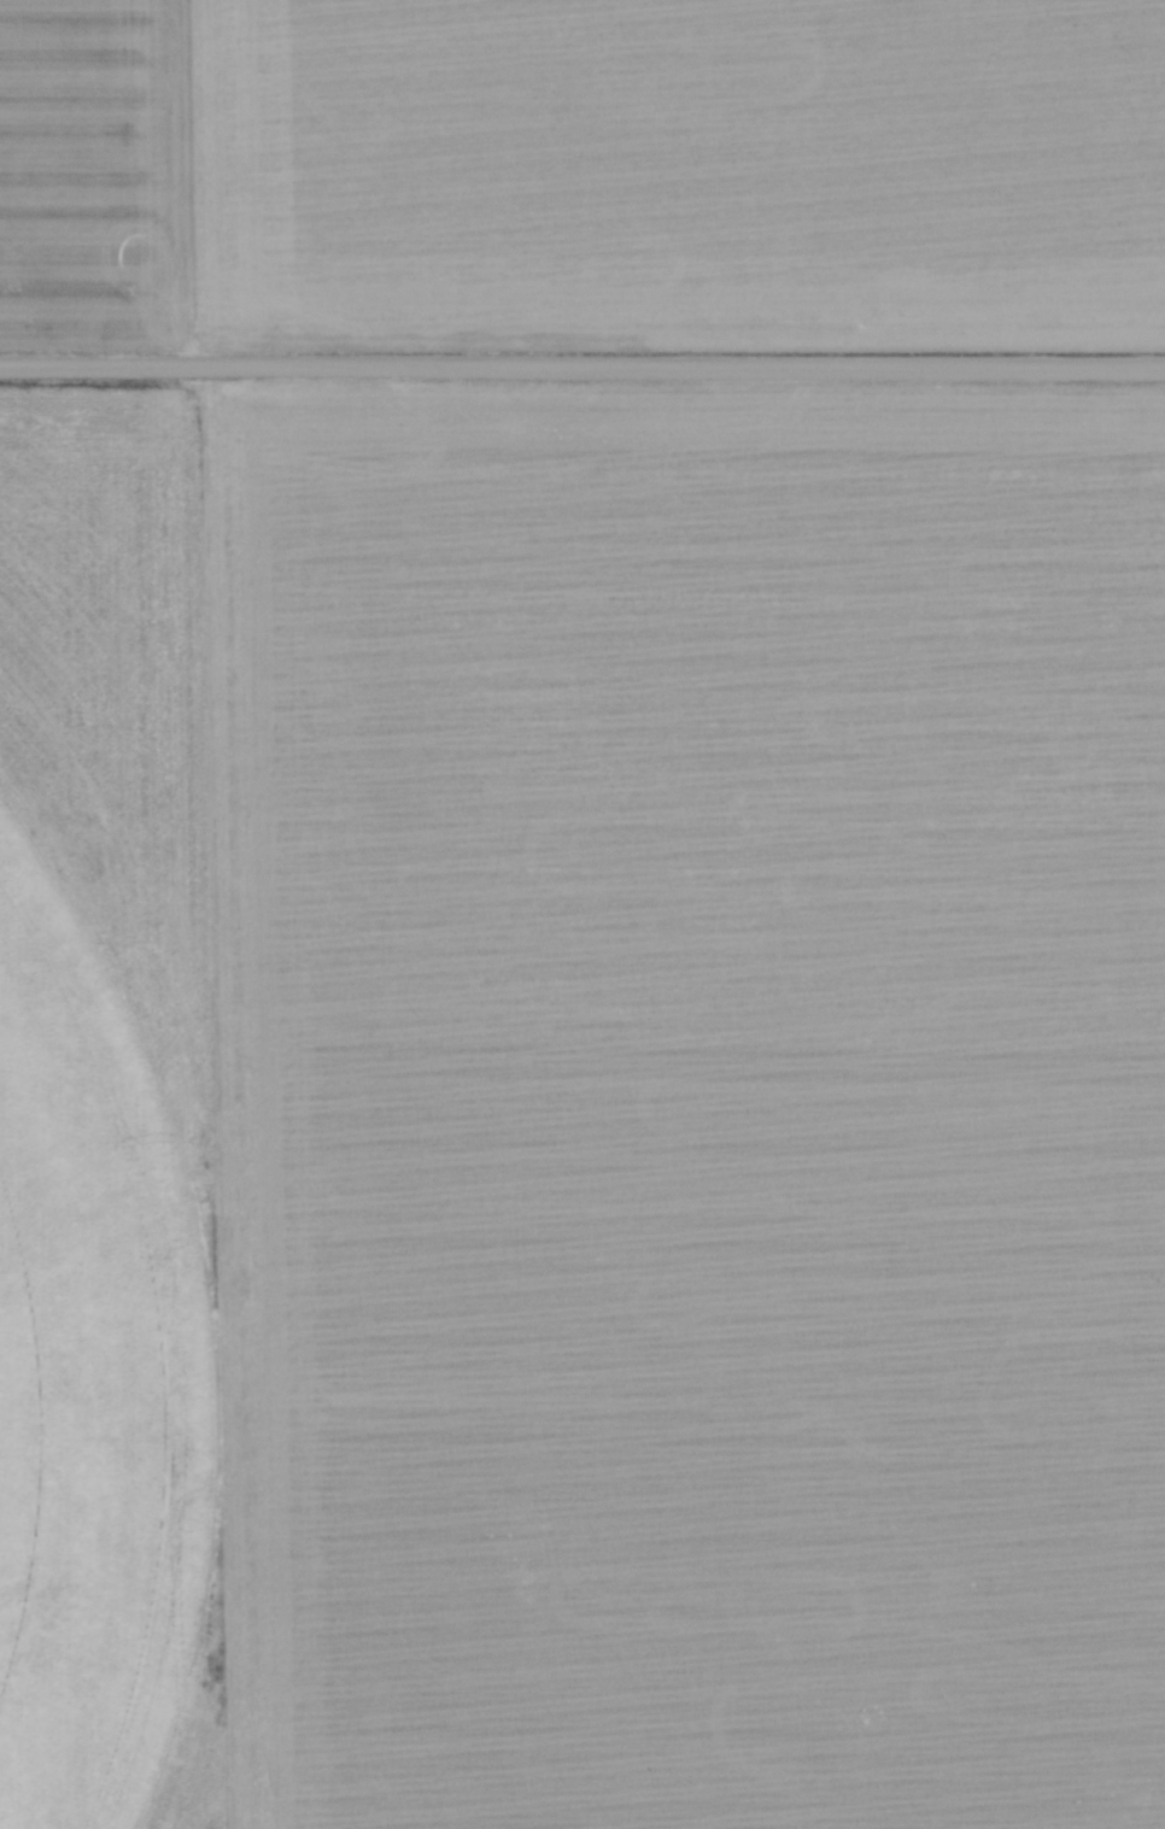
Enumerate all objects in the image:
crop: (582, 175)
road: (581, 365)
crop: (613, 1136)

